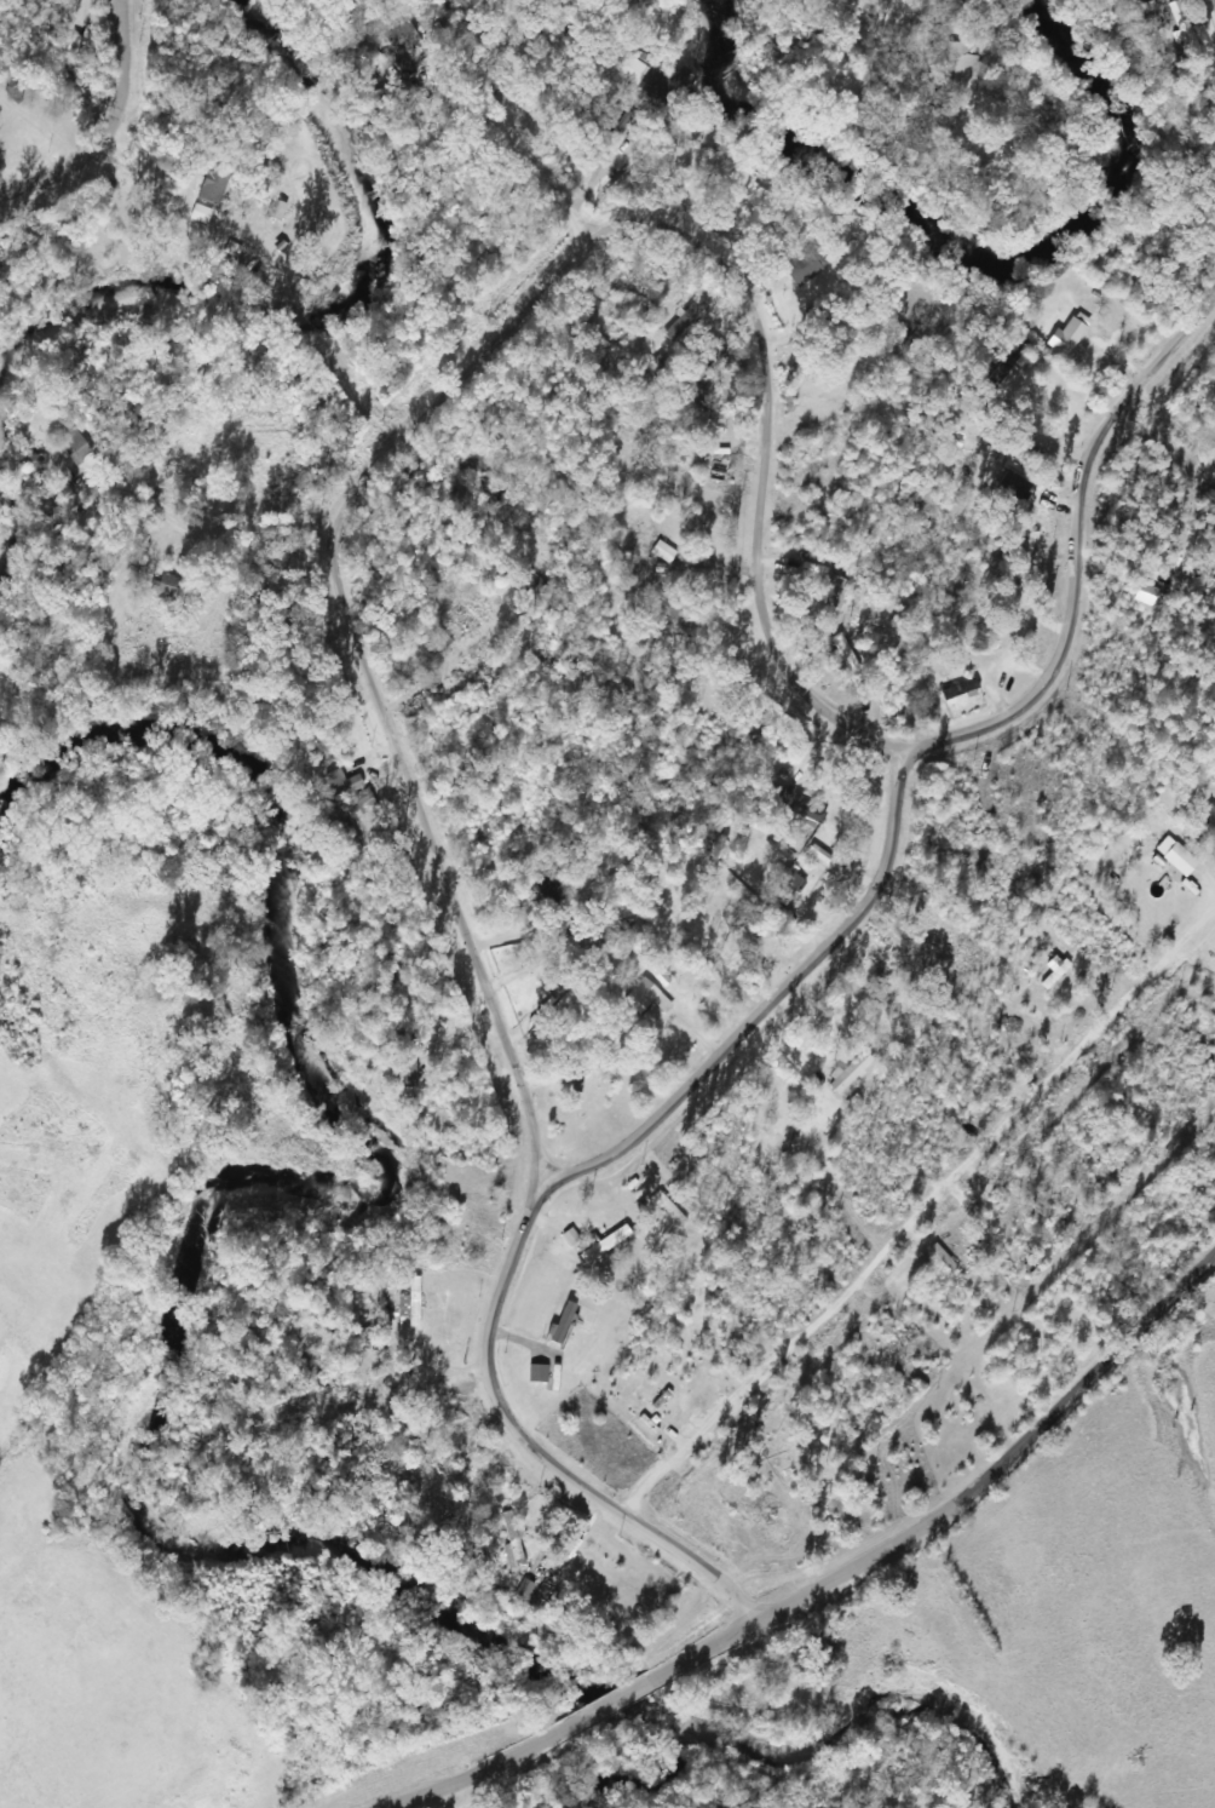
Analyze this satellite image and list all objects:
road: (893, 10)
building: (402, 36)
building: (961, 62)
building: (633, 70)
building: (615, 119)
road: (117, 138)
road: (524, 142)
building: (666, 154)
building: (217, 184)
building: (277, 210)
building: (802, 264)
building: (1065, 339)
road: (471, 367)
building: (678, 412)
road: (1179, 424)
building: (74, 446)
building: (38, 461)
building: (1002, 478)
road: (183, 543)
building: (663, 552)
building: (168, 589)
building: (835, 592)
building: (958, 699)
building: (339, 807)
building: (524, 816)
building: (1179, 860)
building: (637, 1000)
road: (782, 1015)
road: (926, 1233)
building: (604, 1241)
building: (942, 1258)
building: (411, 1303)
building: (536, 1373)
road: (369, 1431)
road: (1006, 1483)
building: (778, 1500)
building: (511, 1539)
road: (598, 1728)

